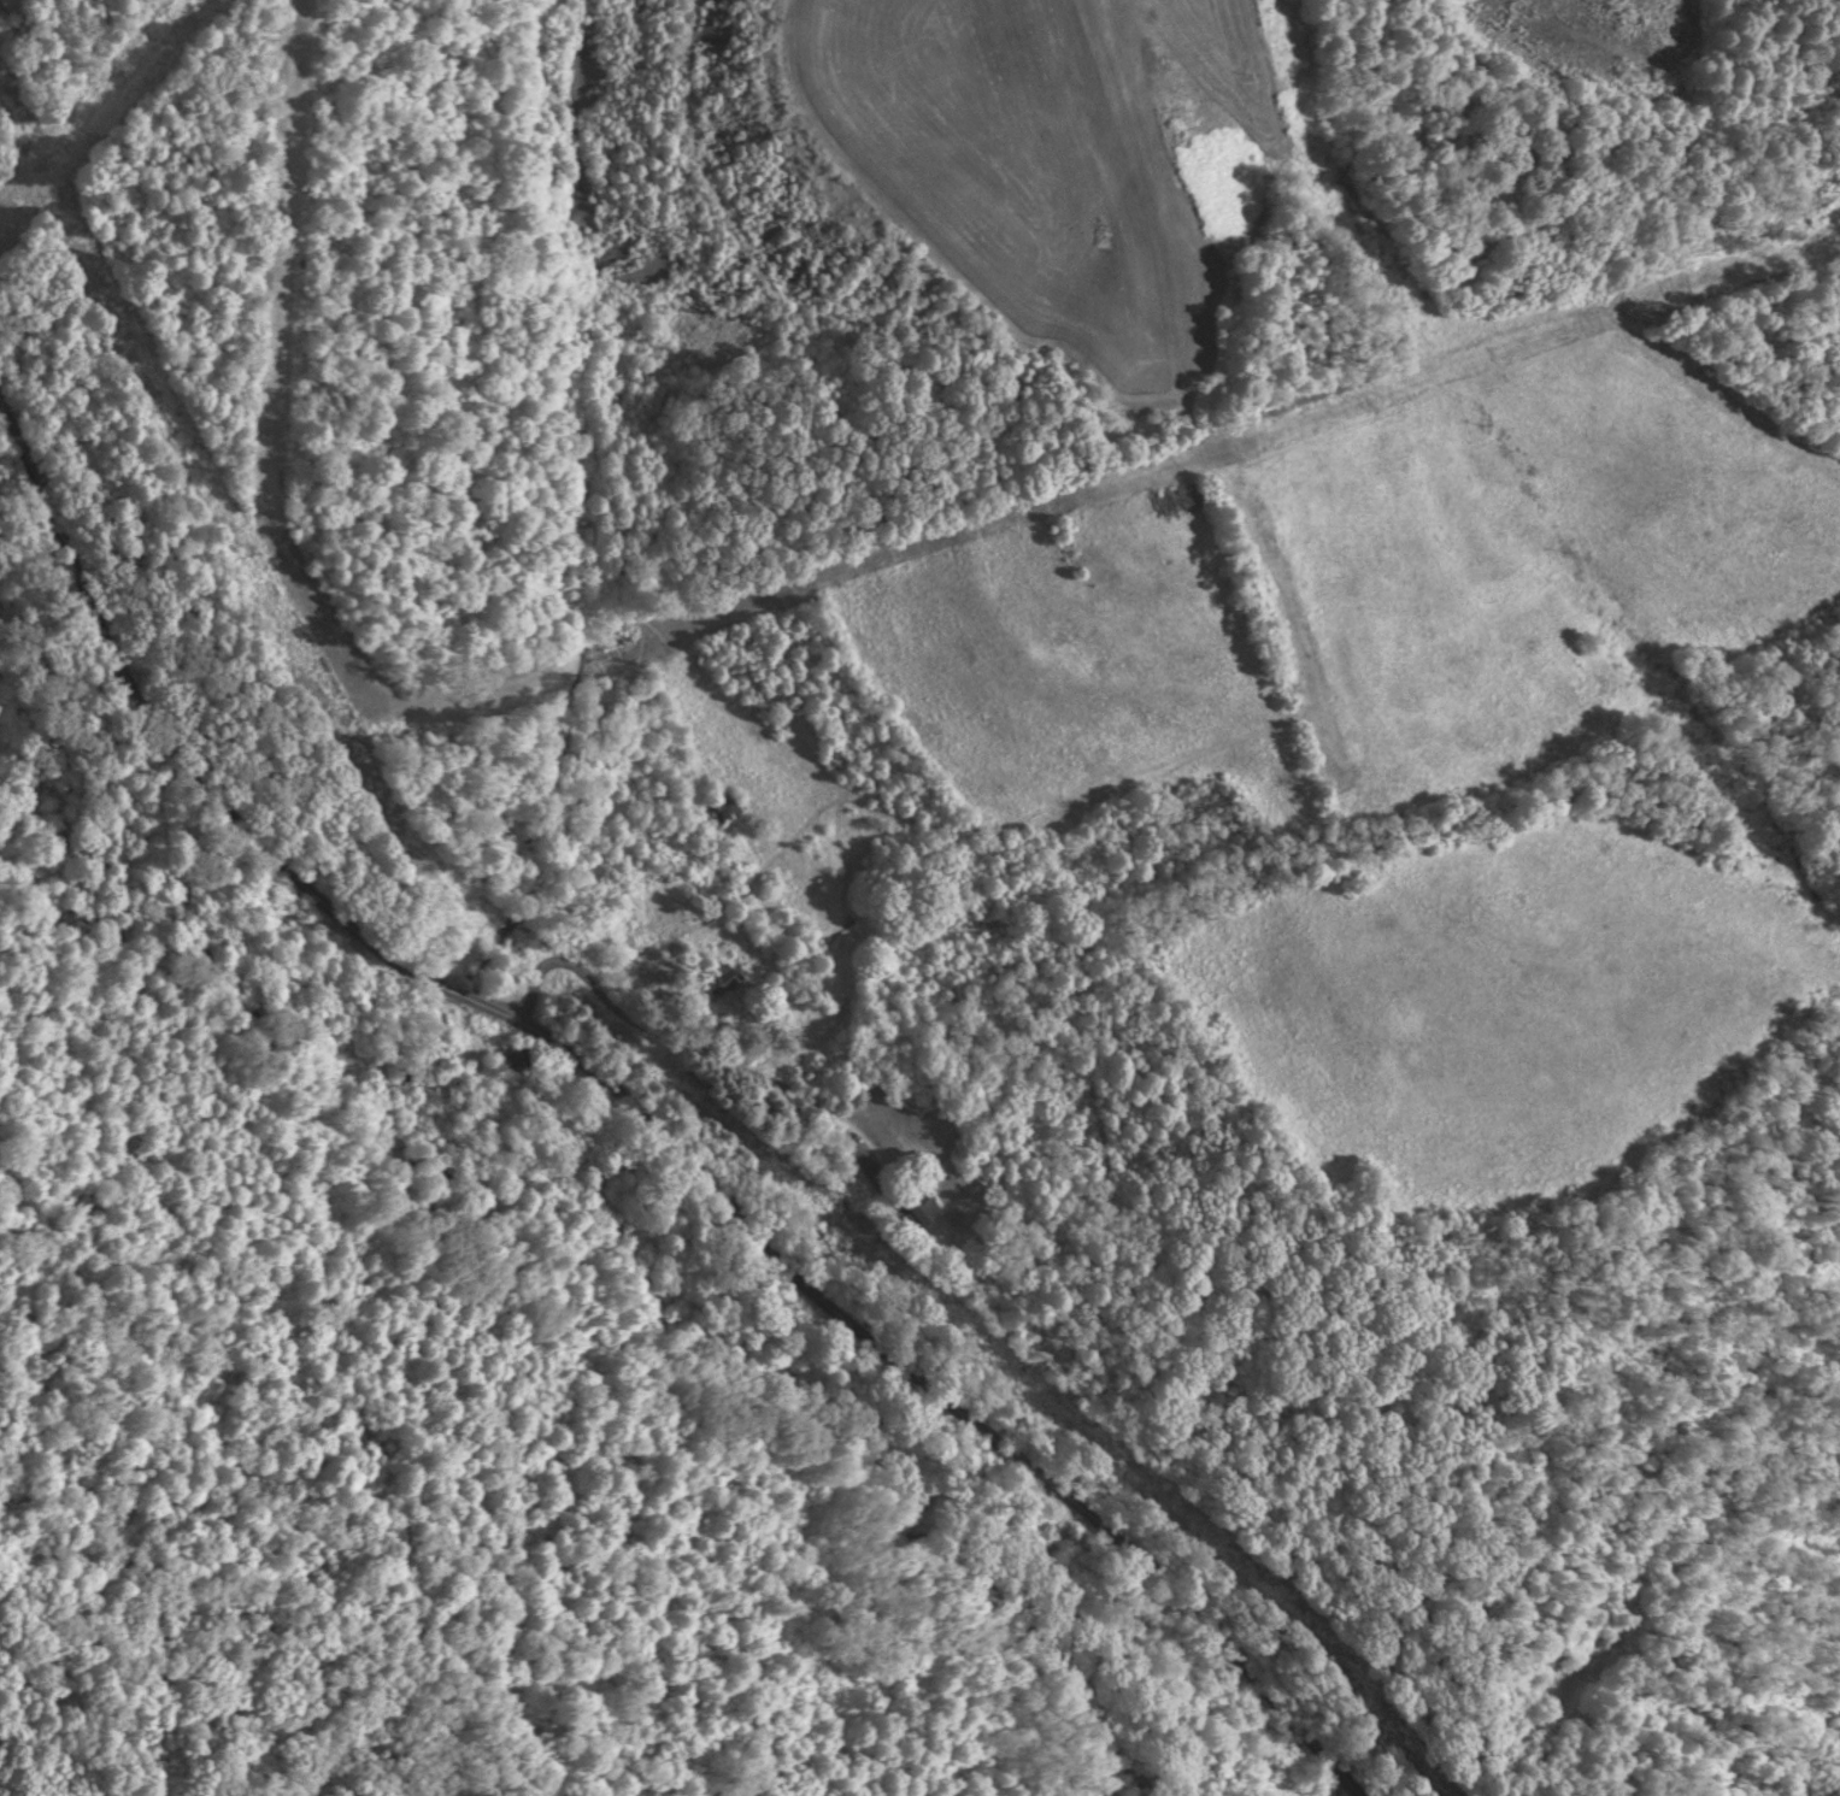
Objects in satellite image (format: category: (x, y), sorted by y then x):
building: (12, 6)
building: (725, 812)
road: (695, 1026)
building: (513, 1056)
road: (636, 1121)
building: (925, 1209)

